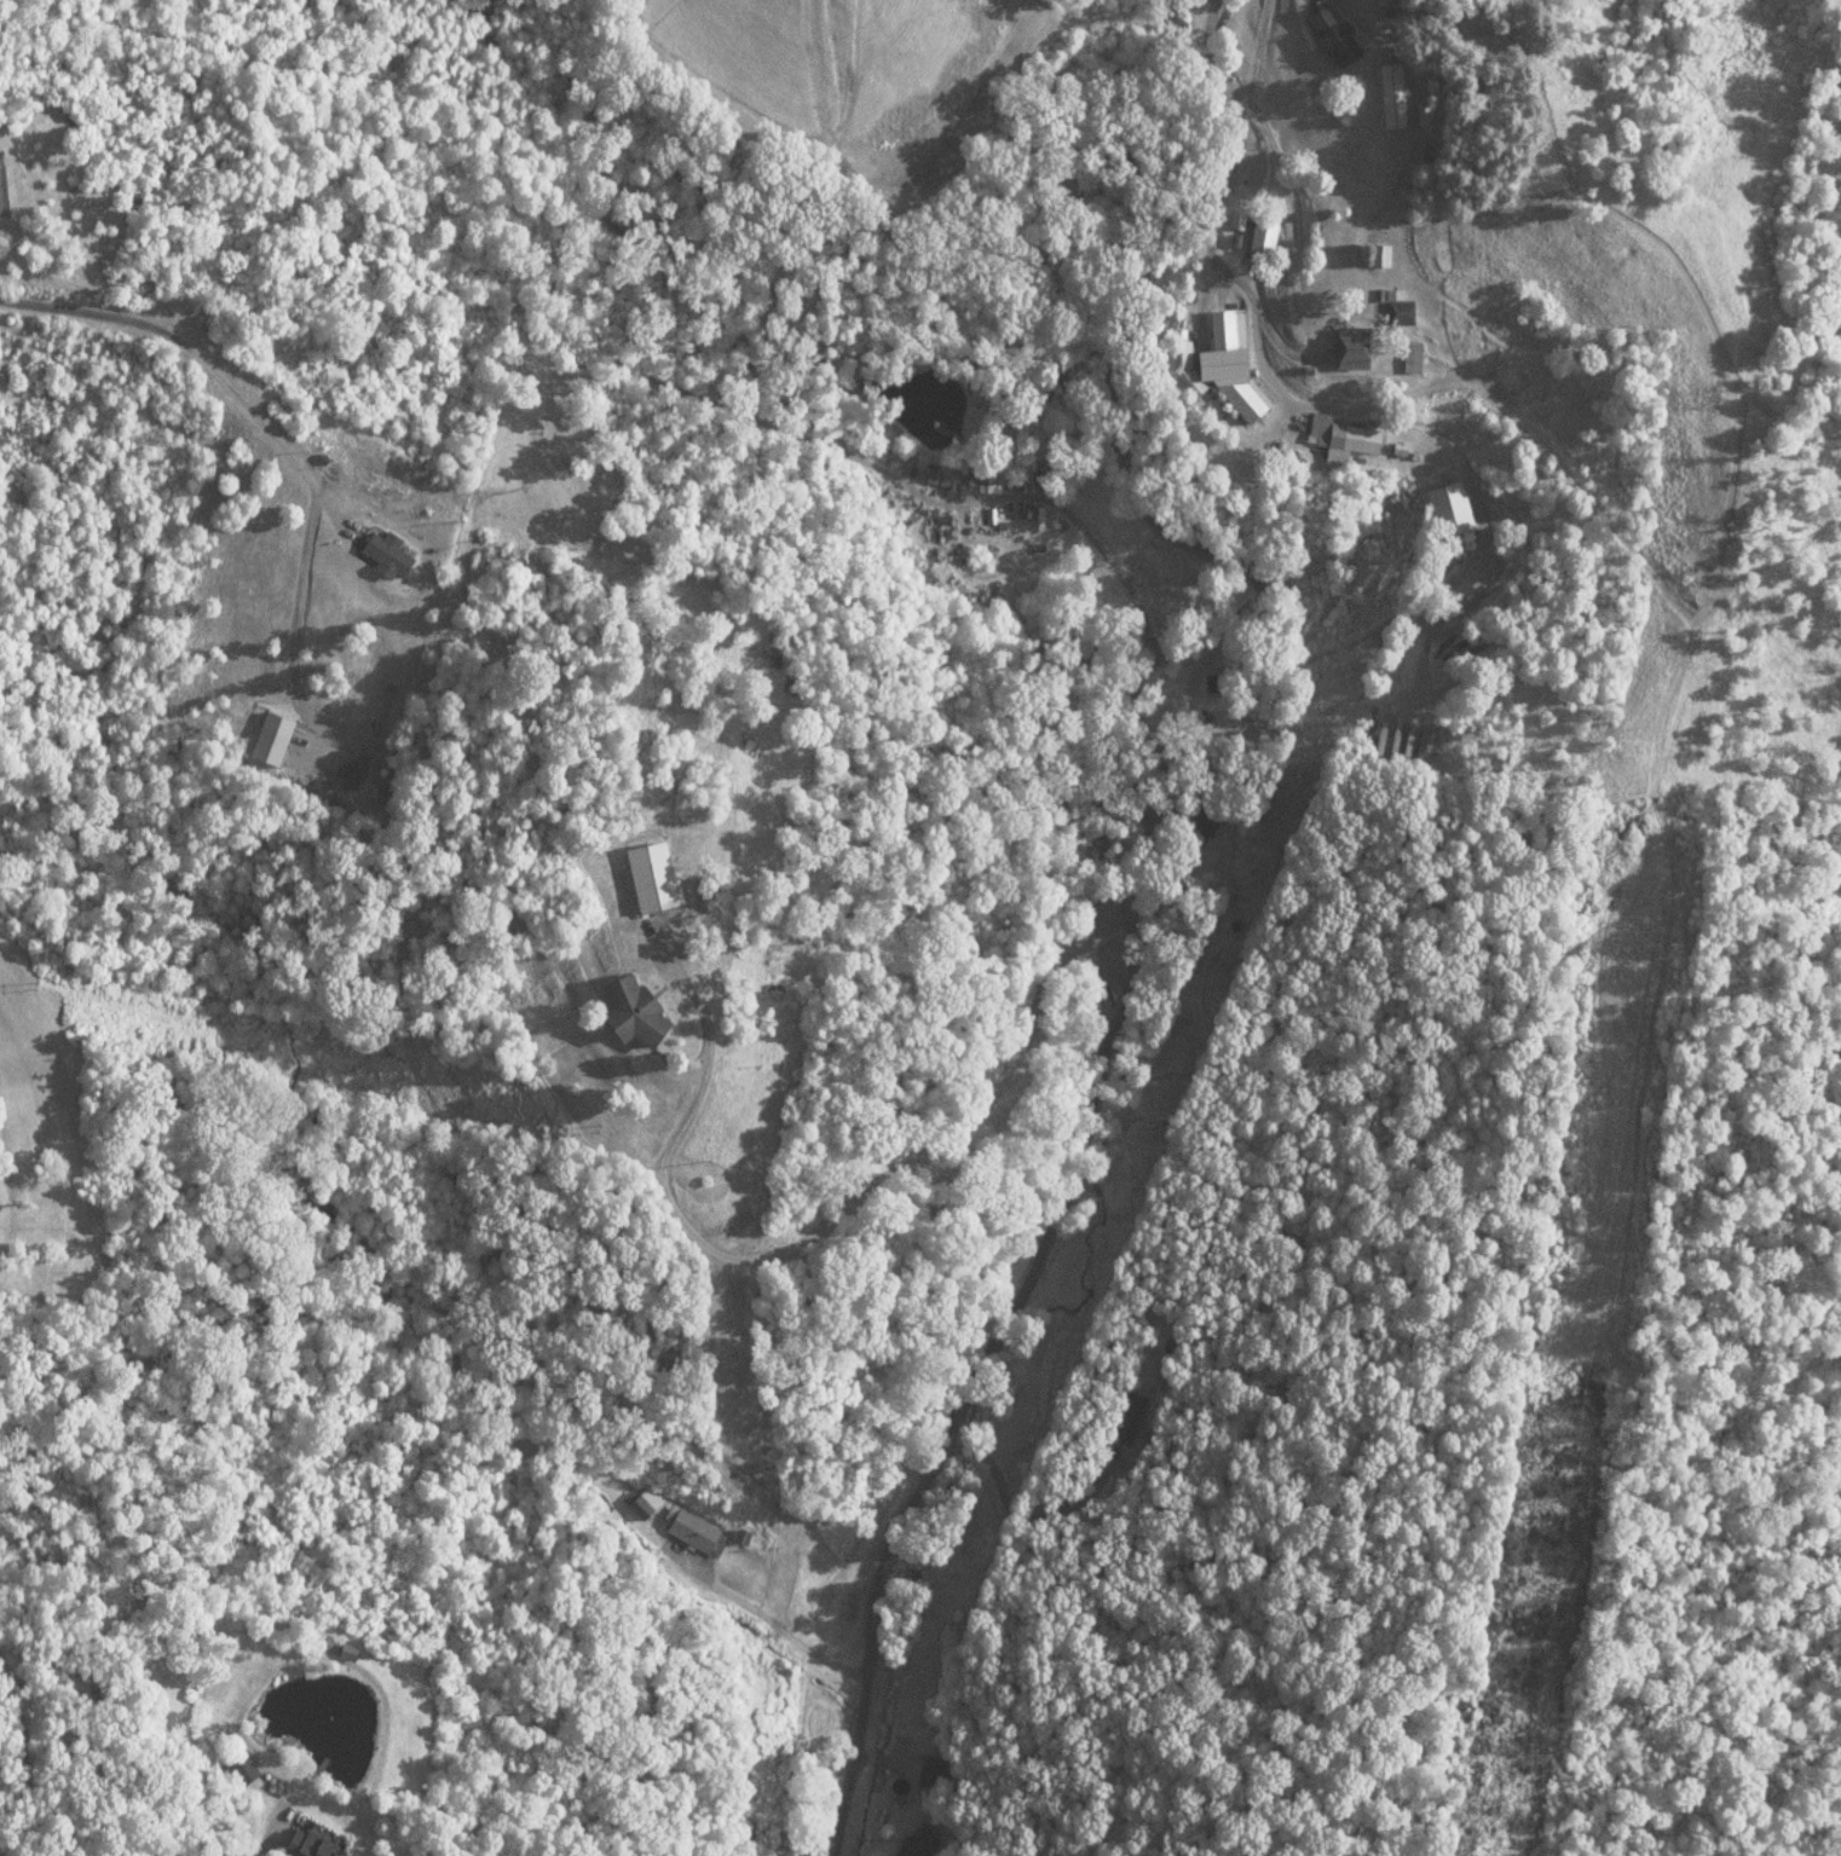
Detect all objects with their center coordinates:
building: (1332, 40)
building: (1392, 96)
building: (4, 185)
building: (1263, 232)
building: (1402, 311)
building: (1356, 348)
building: (1414, 353)
building: (1223, 366)
power tower: (1709, 398)
road: (273, 436)
building: (1345, 438)
building: (1403, 449)
building: (1450, 509)
building: (391, 554)
building: (1476, 578)
building: (1196, 684)
road: (815, 729)
building: (653, 879)
road: (1172, 891)
building: (636, 1012)
road: (792, 1242)
power tower: (1563, 1426)
road: (911, 1458)
building: (688, 1531)
building: (350, 1653)
building: (927, 1769)
building: (312, 1843)
building: (912, 1844)
road: (277, 1845)

